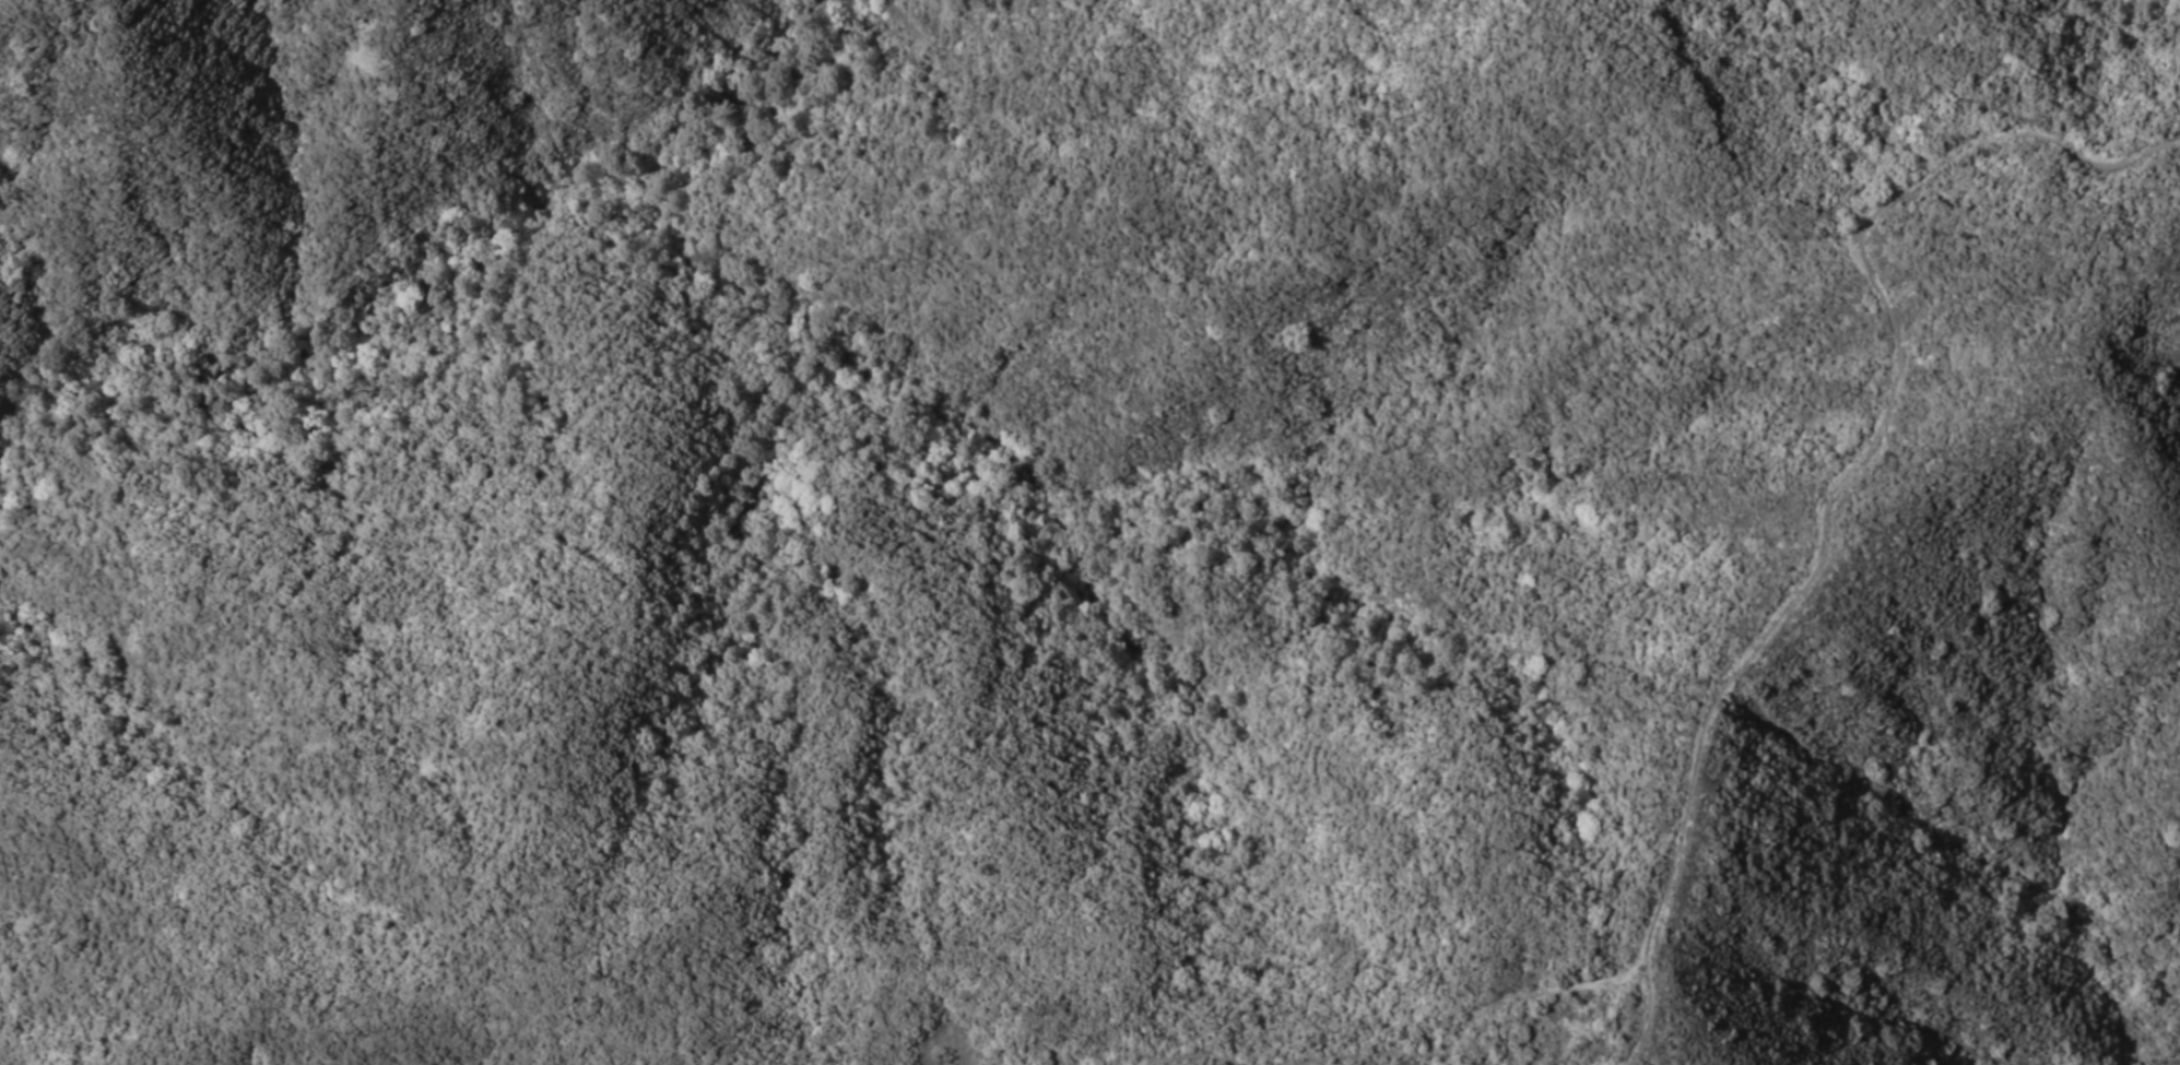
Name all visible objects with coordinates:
road: (1866, 447)
road: (1472, 1021)
road: (1646, 1023)
road: (1197, 1060)

